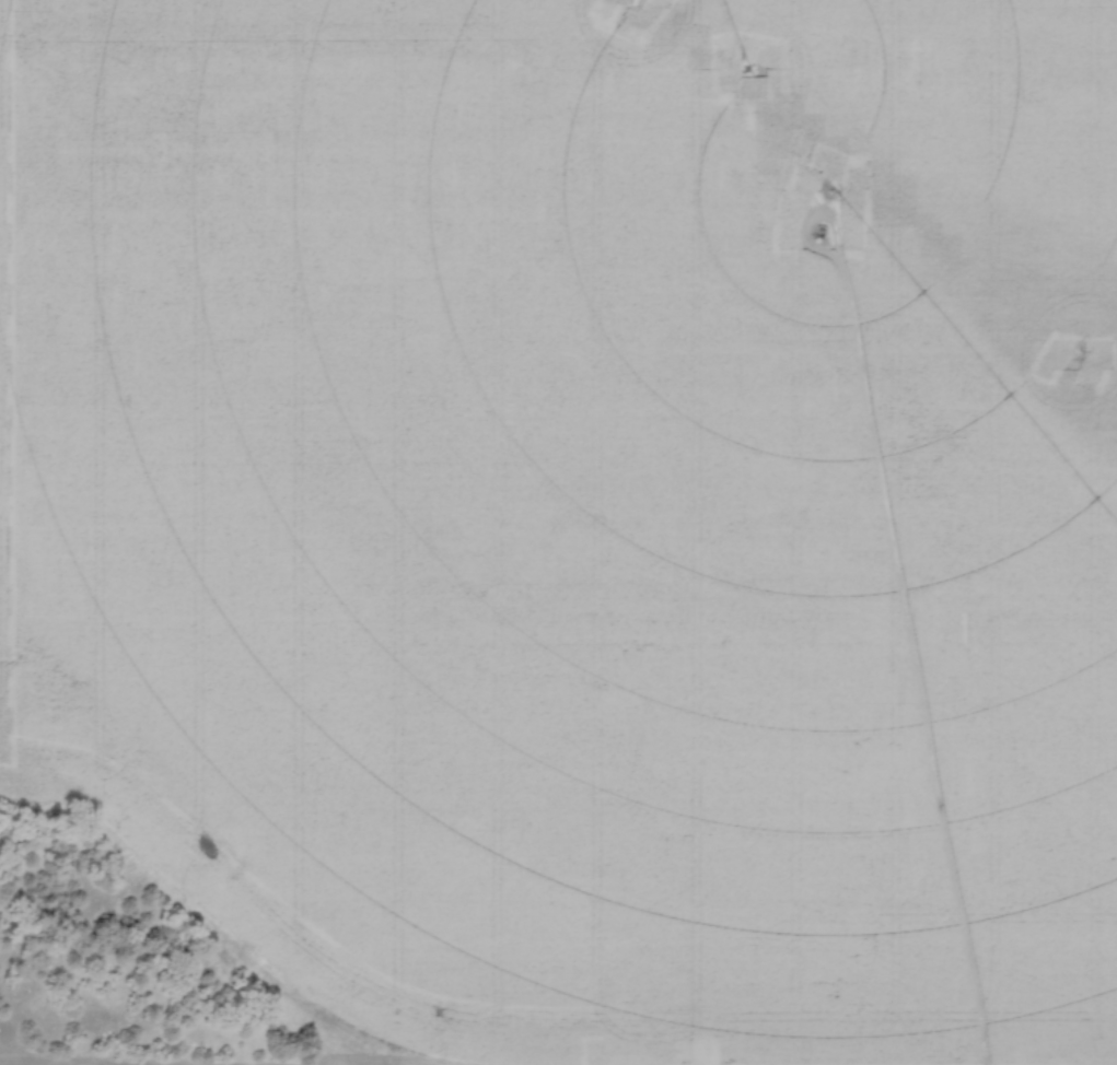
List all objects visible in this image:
power tower: (641, 2)
power tower: (1074, 356)

